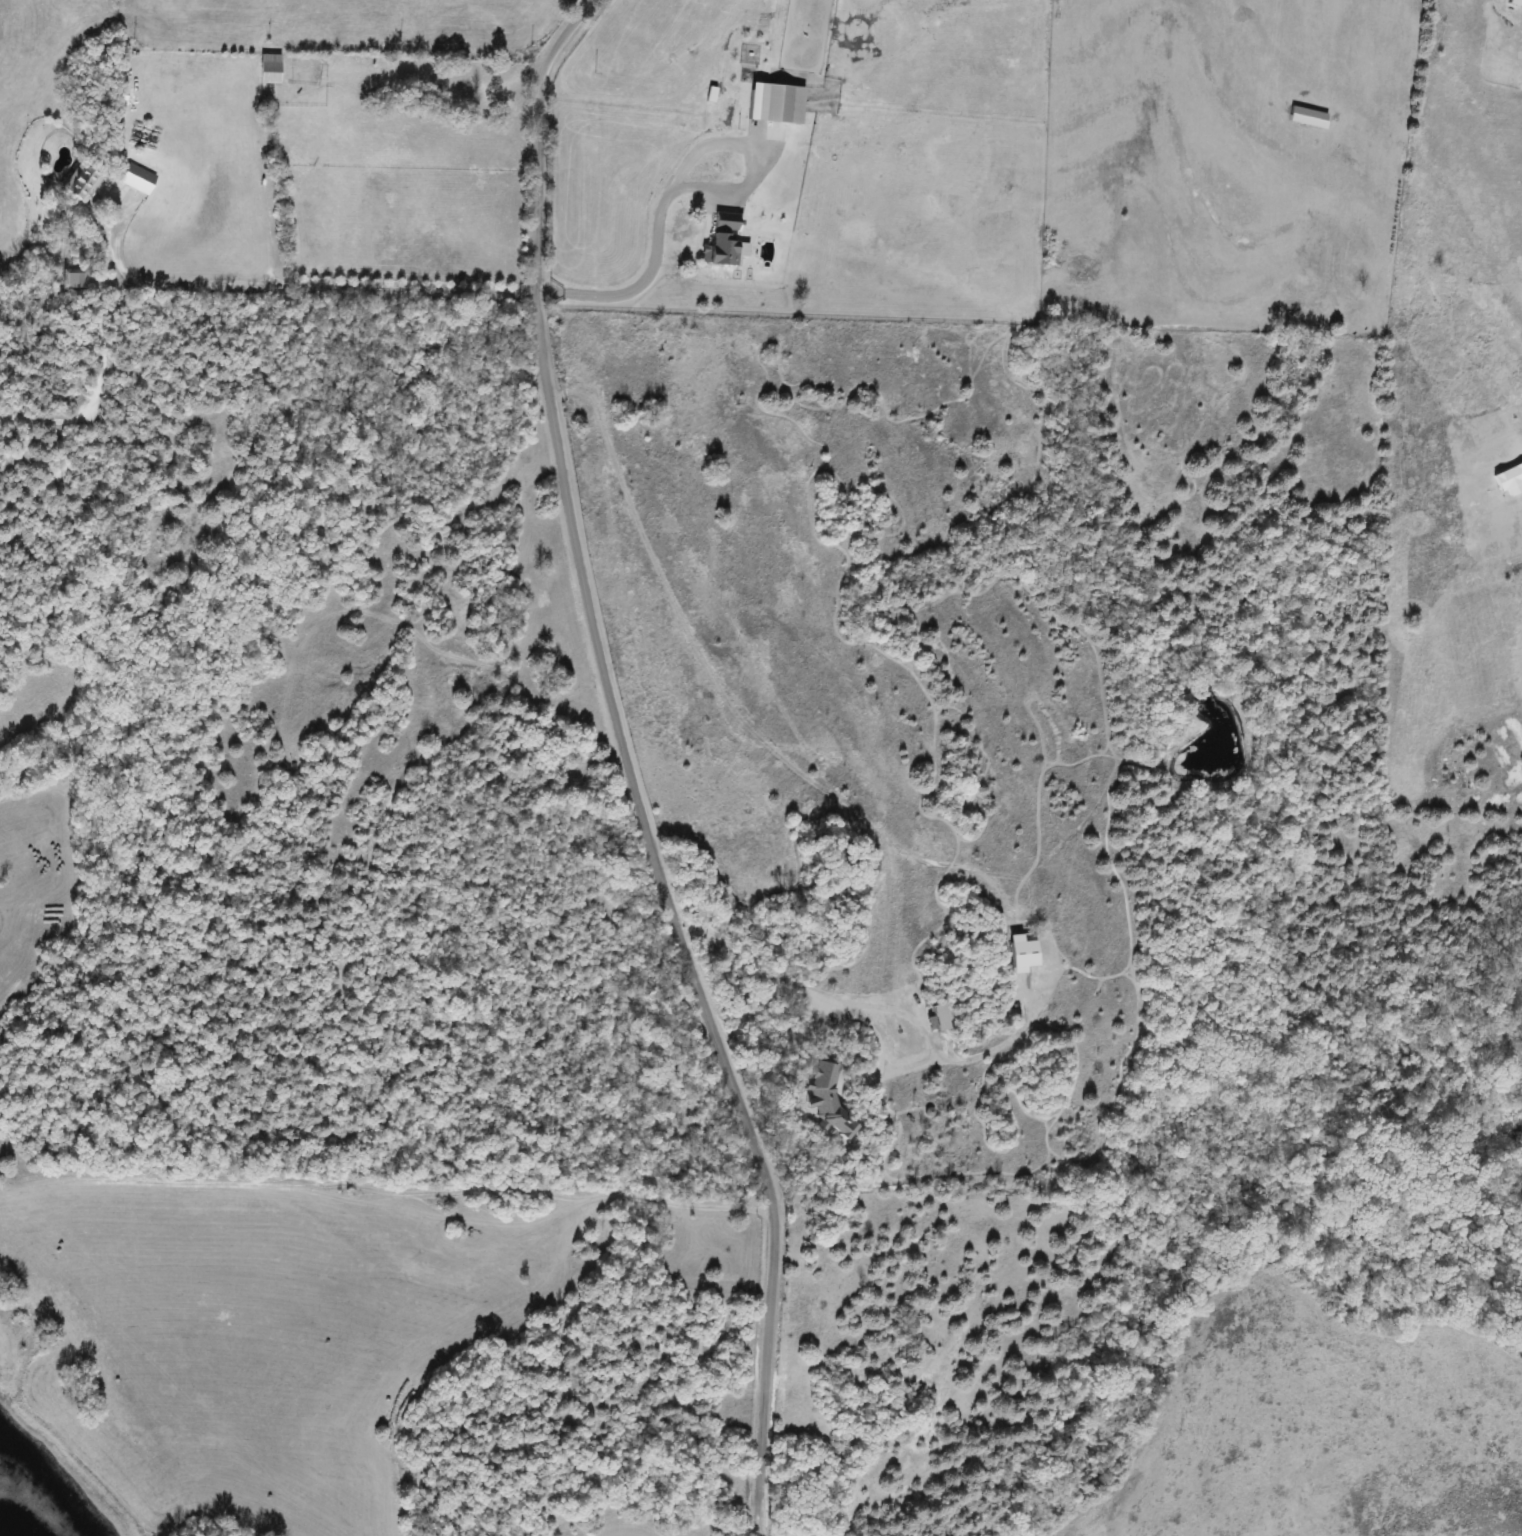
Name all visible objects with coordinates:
building: (1515, 3)
building: (269, 69)
building: (776, 104)
road: (672, 170)
building: (137, 179)
building: (79, 184)
building: (725, 222)
building: (722, 251)
building: (71, 278)
road: (329, 291)
building: (1509, 479)
road: (625, 767)
building: (1022, 956)
road: (872, 1005)
road: (996, 1046)

